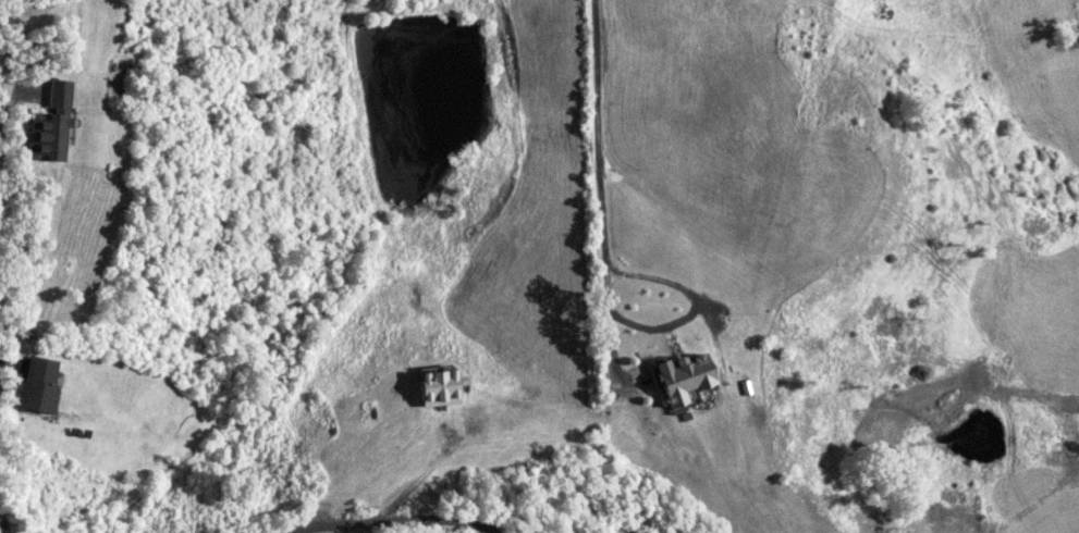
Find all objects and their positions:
building: (51, 125)
road: (391, 520)
road: (3, 524)

